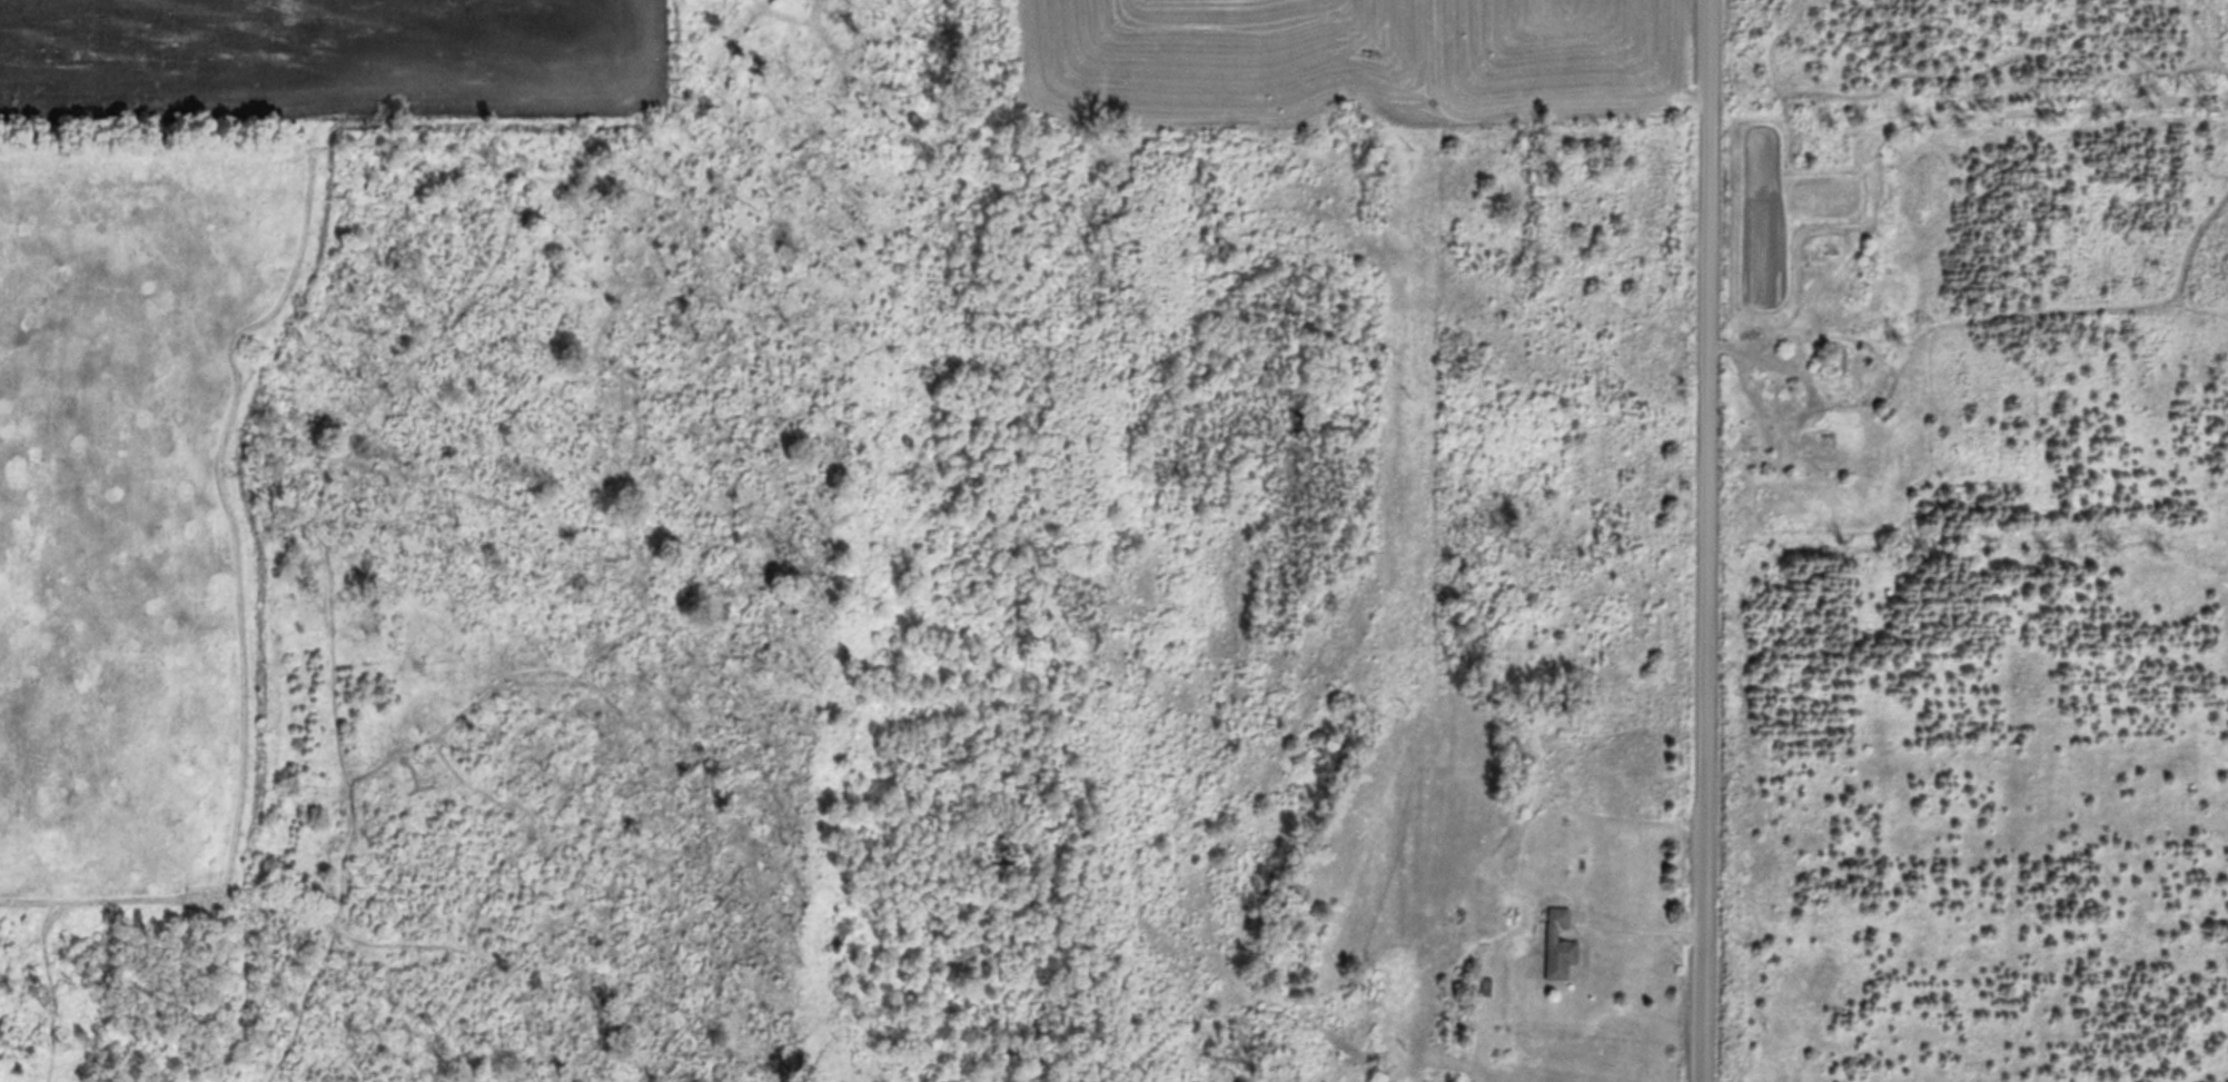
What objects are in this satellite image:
road: (1704, 540)
building: (1576, 856)
road: (1642, 924)
building: (1556, 941)

